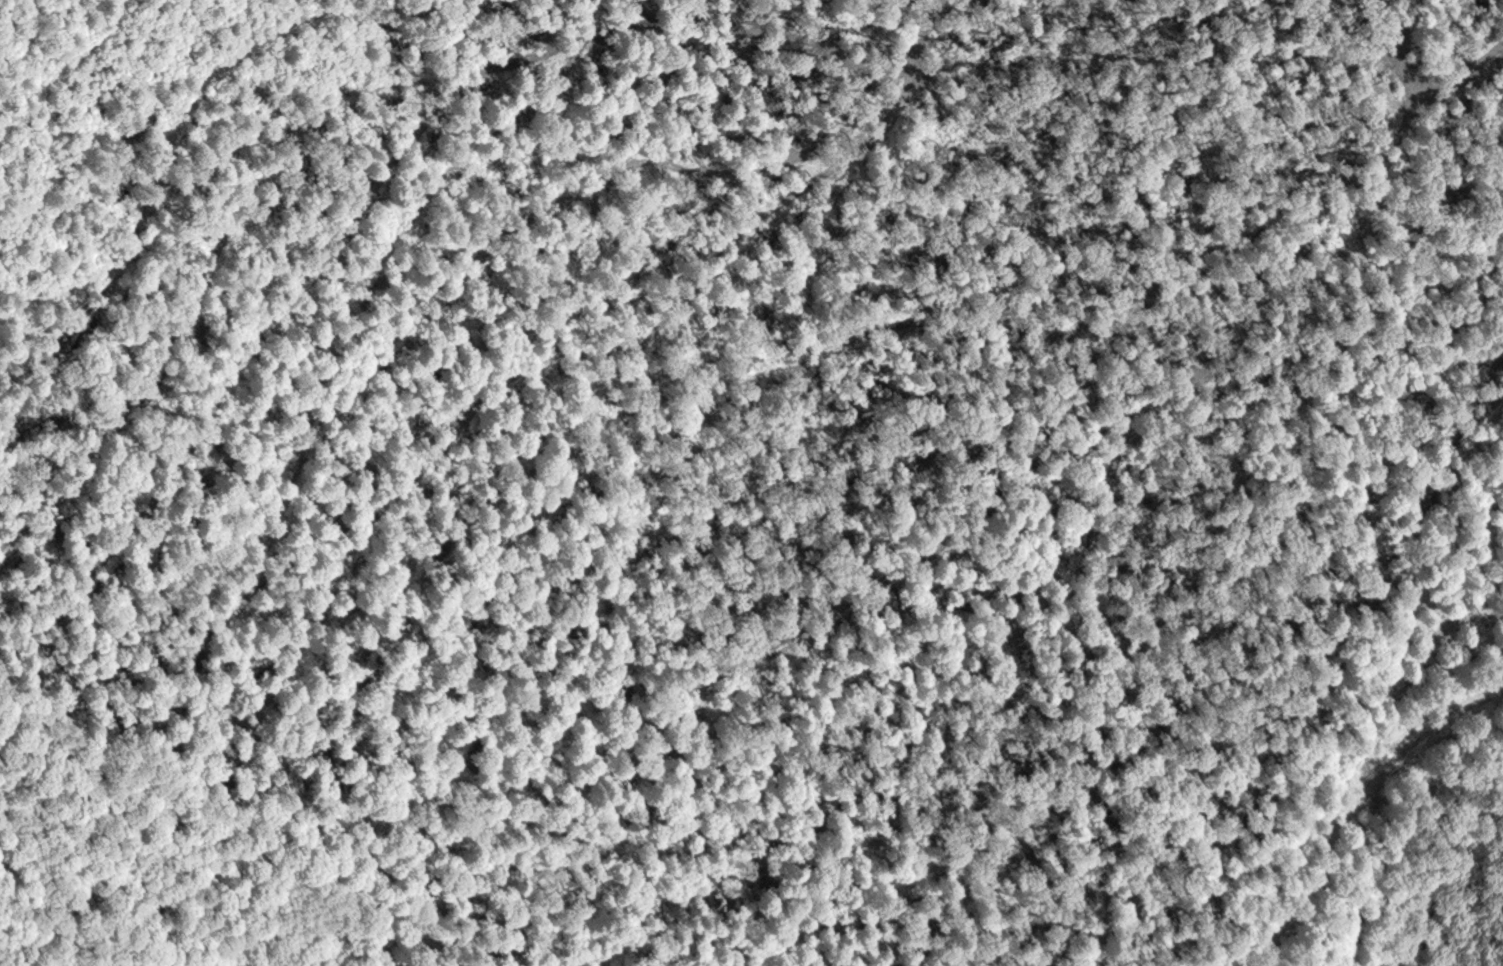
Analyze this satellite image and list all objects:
road: (510, 482)

